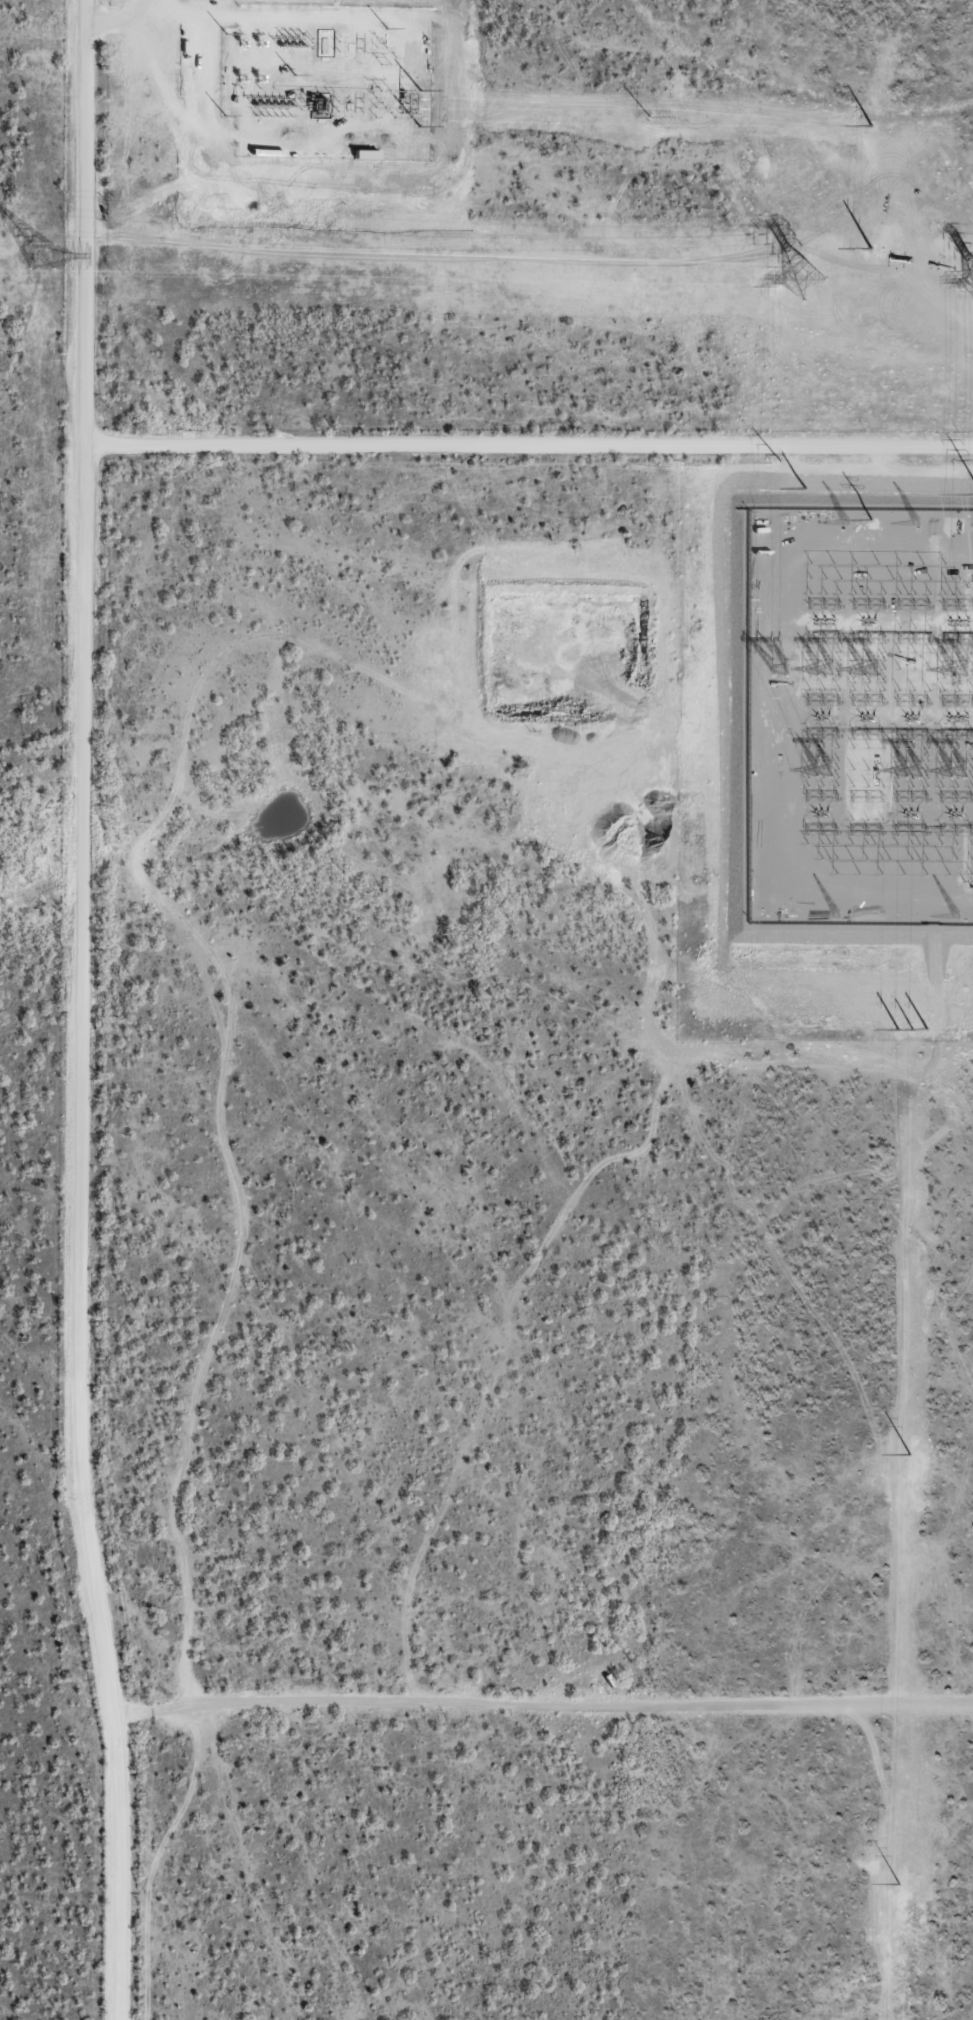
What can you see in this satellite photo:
power substation: (327, 81)
power tower: (415, 106)
power tower: (646, 115)
power tower: (870, 122)
power tower: (870, 243)
power tower: (43, 255)
power tower: (789, 278)
road: (529, 445)
power tower: (800, 486)
power tower: (867, 519)
power substation: (860, 715)
road: (277, 798)
road: (78, 1011)
power tower: (910, 1025)
road: (228, 1028)
road: (543, 1703)

